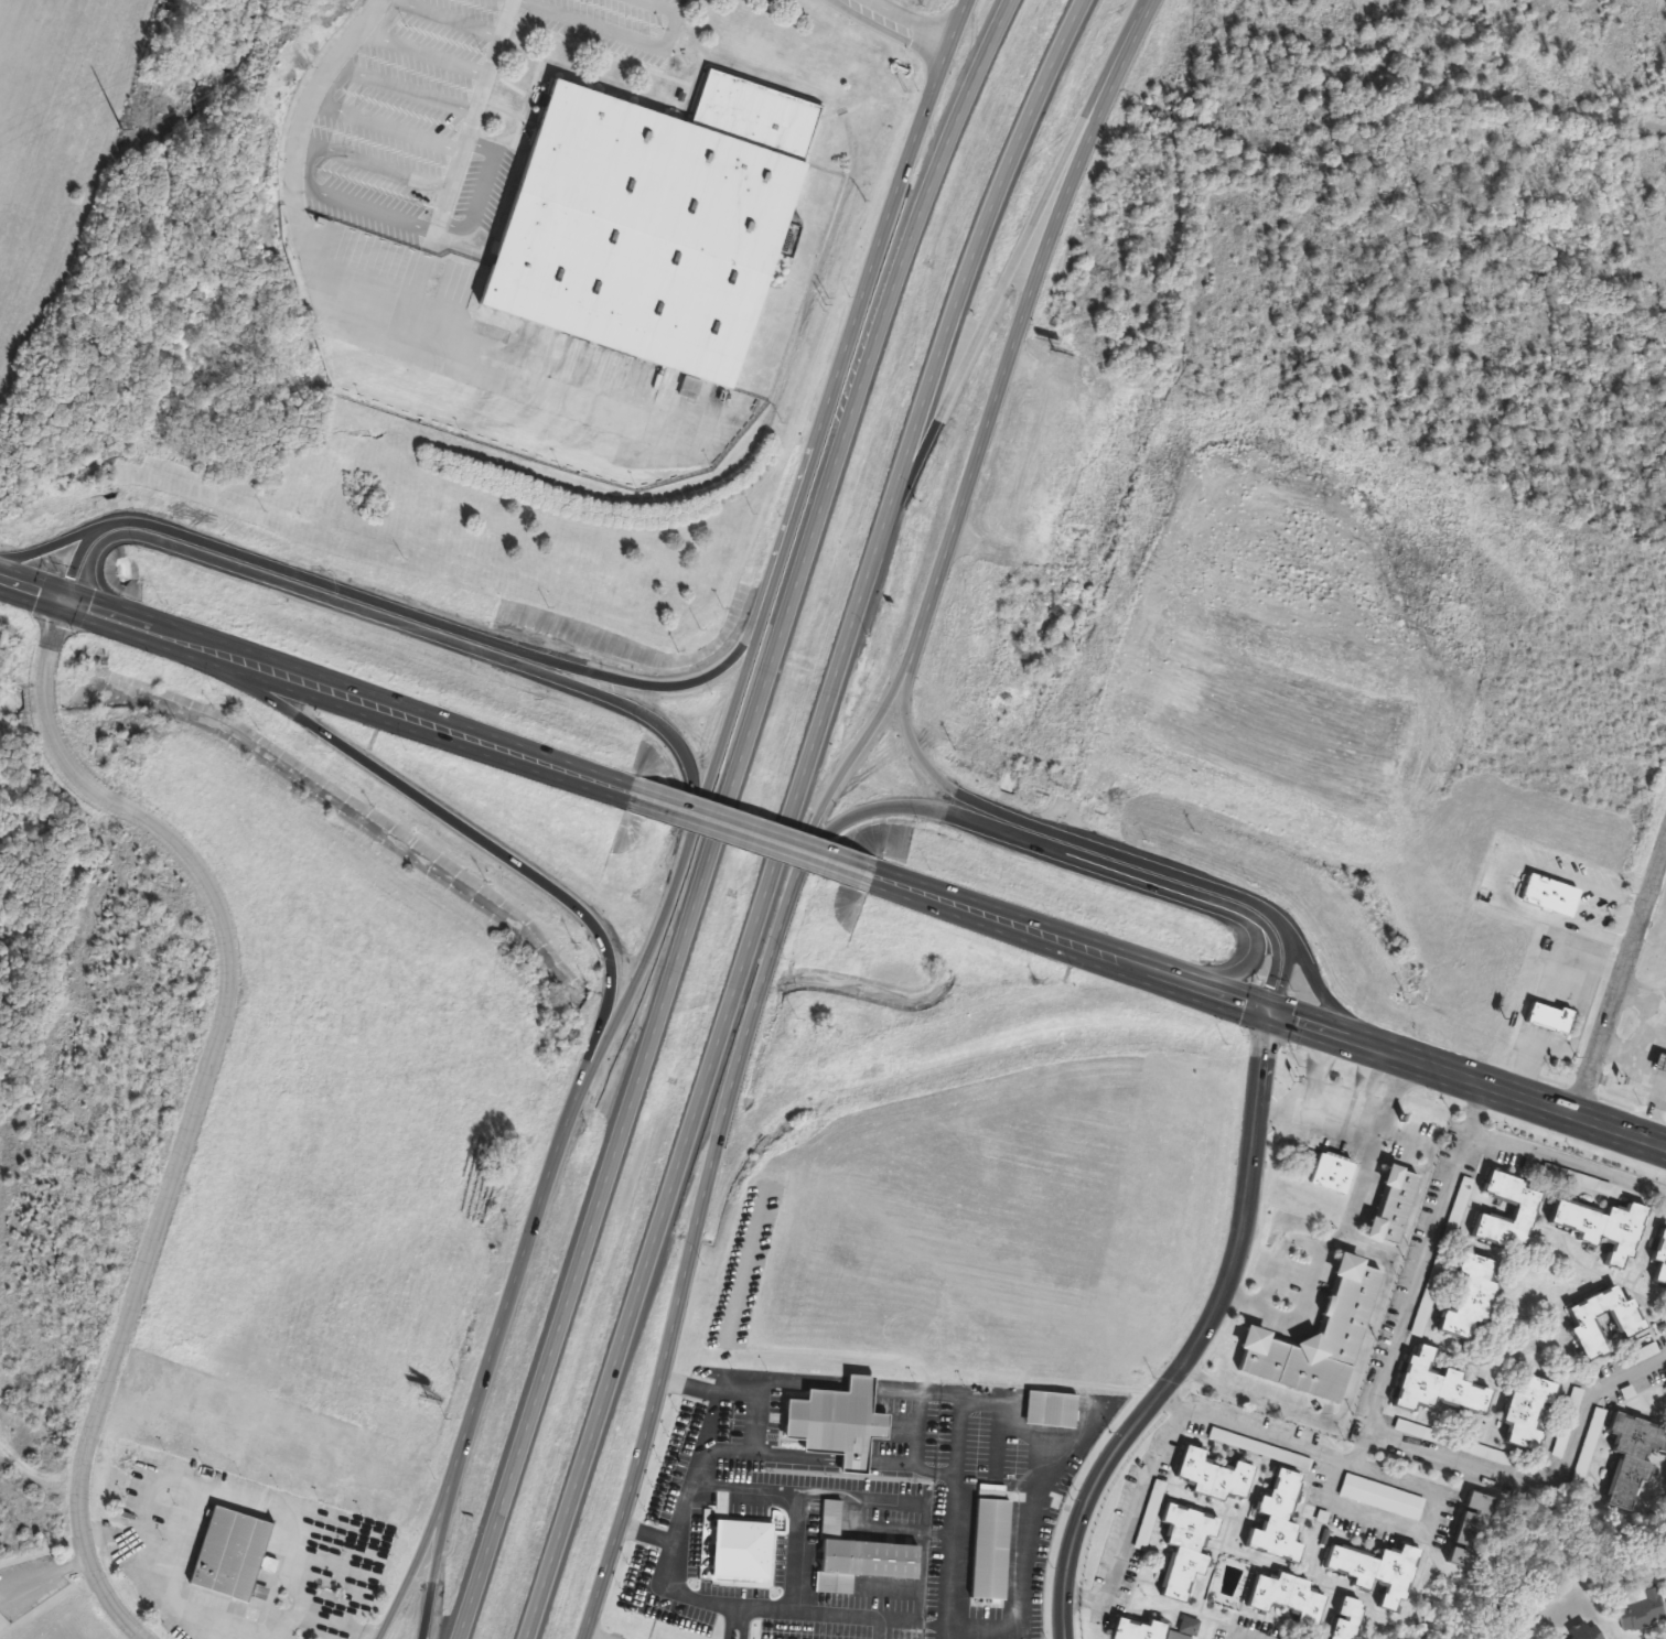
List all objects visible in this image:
road: (899, 23)
road: (622, 35)
road: (1128, 54)
road: (935, 73)
road: (976, 77)
road: (309, 99)
parking lot: (398, 117)
road: (471, 120)
road: (1649, 128)
power tower: (120, 130)
building: (652, 222)
road: (963, 285)
road: (978, 341)
road: (829, 391)
road: (997, 395)
road: (55, 546)
road: (20, 556)
road: (257, 569)
road: (626, 683)
road: (312, 687)
road: (620, 713)
road: (917, 755)
road: (881, 810)
road: (456, 830)
road: (751, 835)
road: (686, 851)
road: (1164, 876)
road: (692, 894)
building: (1551, 895)
road: (1244, 968)
road: (1621, 981)
road: (1319, 985)
road: (1634, 994)
traffic signals: (1271, 1010)
road: (1272, 1010)
building: (1551, 1017)
road: (1572, 1029)
road: (1635, 1038)
road: (1651, 1040)
road: (1613, 1053)
building: (1662, 1061)
road: (1663, 1083)
road: (201, 1097)
building: (1343, 1098)
road: (1359, 1098)
road: (1301, 1101)
road: (697, 1109)
road: (1648, 1110)
road: (1272, 1118)
road: (1382, 1129)
road: (719, 1152)
road: (1567, 1161)
road: (1398, 1163)
building: (1334, 1173)
road: (1361, 1186)
building: (1527, 1208)
road: (1409, 1215)
building: (1603, 1228)
road: (1365, 1250)
road: (1273, 1254)
road: (526, 1255)
building: (1662, 1259)
building: (1471, 1297)
road: (1299, 1311)
building: (1631, 1323)
road: (1196, 1338)
building: (1324, 1344)
building: (1642, 1355)
road: (1385, 1370)
building: (286, 1379)
road: (673, 1382)
road: (763, 1384)
road: (857, 1384)
building: (1439, 1385)
road: (928, 1391)
road: (968, 1394)
building: (1053, 1410)
building: (1530, 1410)
road: (917, 1413)
road: (999, 1413)
road: (1337, 1416)
building: (840, 1423)
building: (1569, 1423)
building: (1409, 1428)
road: (1022, 1431)
road: (958, 1434)
building: (1591, 1443)
road: (703, 1446)
road: (996, 1453)
road: (793, 1455)
building: (1634, 1457)
road: (851, 1460)
road: (889, 1463)
road: (944, 1474)
building: (1216, 1475)
road: (723, 1477)
road: (1543, 1477)
building: (1383, 1497)
road: (1135, 1502)
road: (924, 1514)
building: (1278, 1519)
road: (1416, 1530)
building: (1474, 1530)
road: (644, 1532)
road: (440, 1548)
building: (992, 1549)
building: (1186, 1549)
road: (424, 1550)
building: (232, 1553)
building: (860, 1556)
road: (950, 1556)
building: (753, 1557)
road: (1022, 1564)
building: (1378, 1571)
road: (44, 1573)
road: (664, 1586)
building: (1289, 1598)
building: (1643, 1610)
road: (724, 1611)
road: (827, 1616)
building: (1350, 1619)
road: (934, 1625)
building: (1191, 1626)
road: (728, 1627)
road: (738, 1628)
road: (877, 1629)
building: (1140, 1629)
building: (1584, 1631)
road: (1244, 1636)

